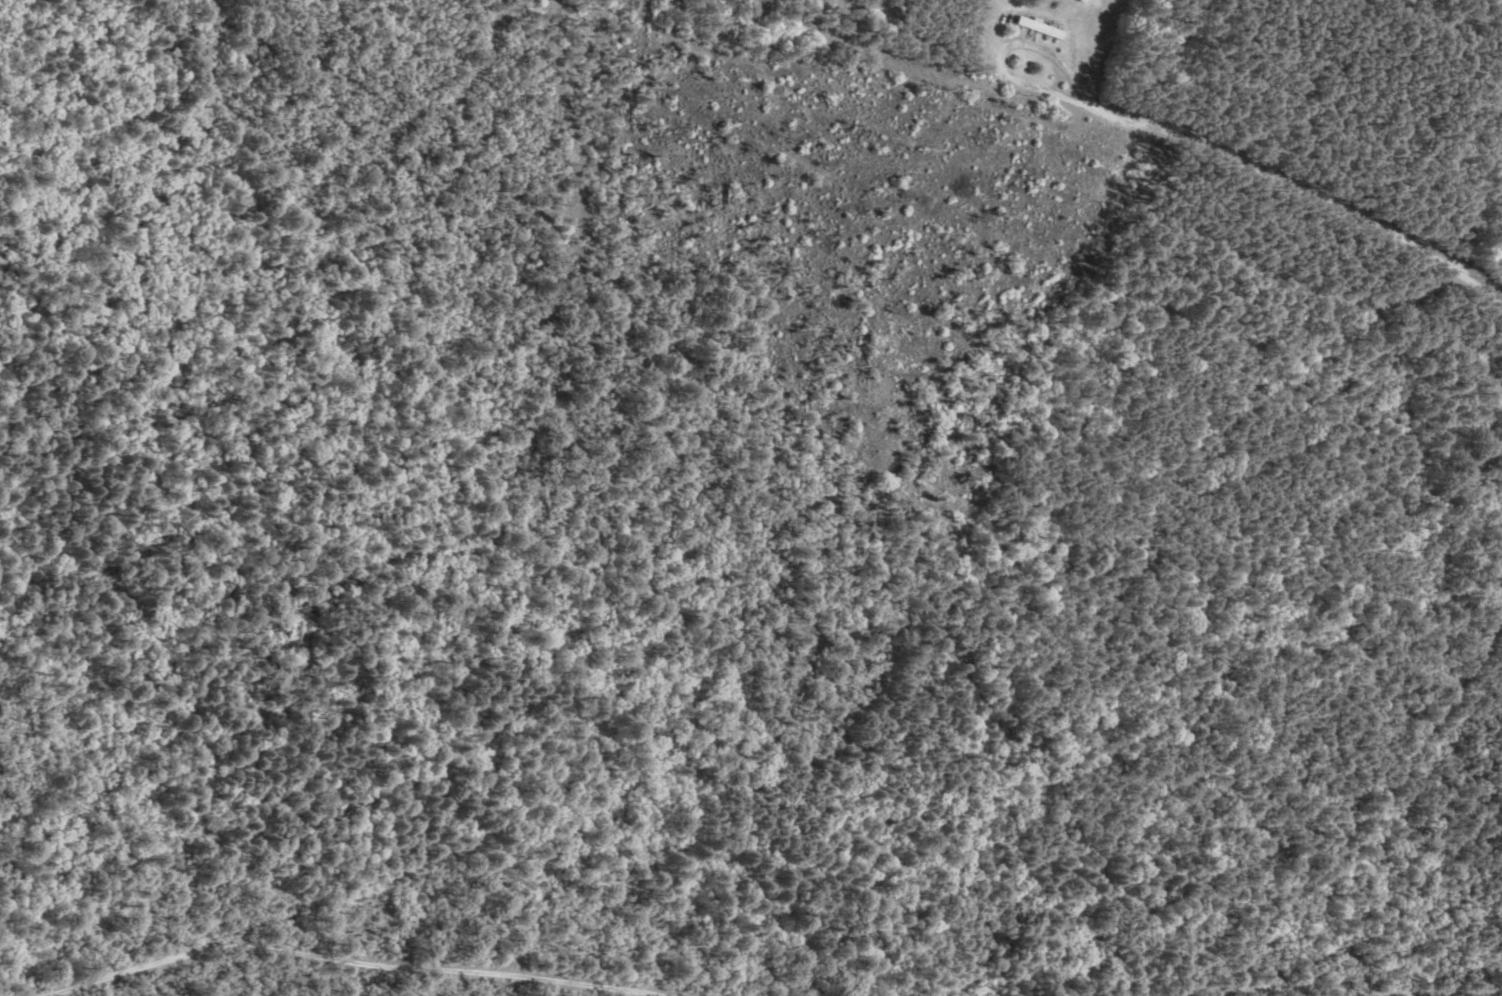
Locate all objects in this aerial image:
building: (1038, 25)

